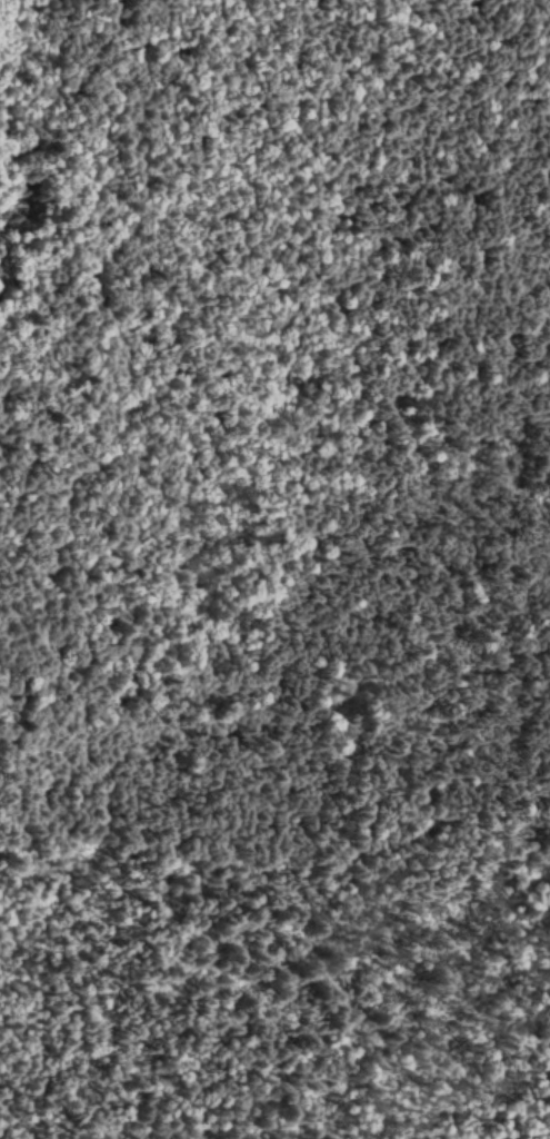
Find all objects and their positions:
river: (119, 377)

